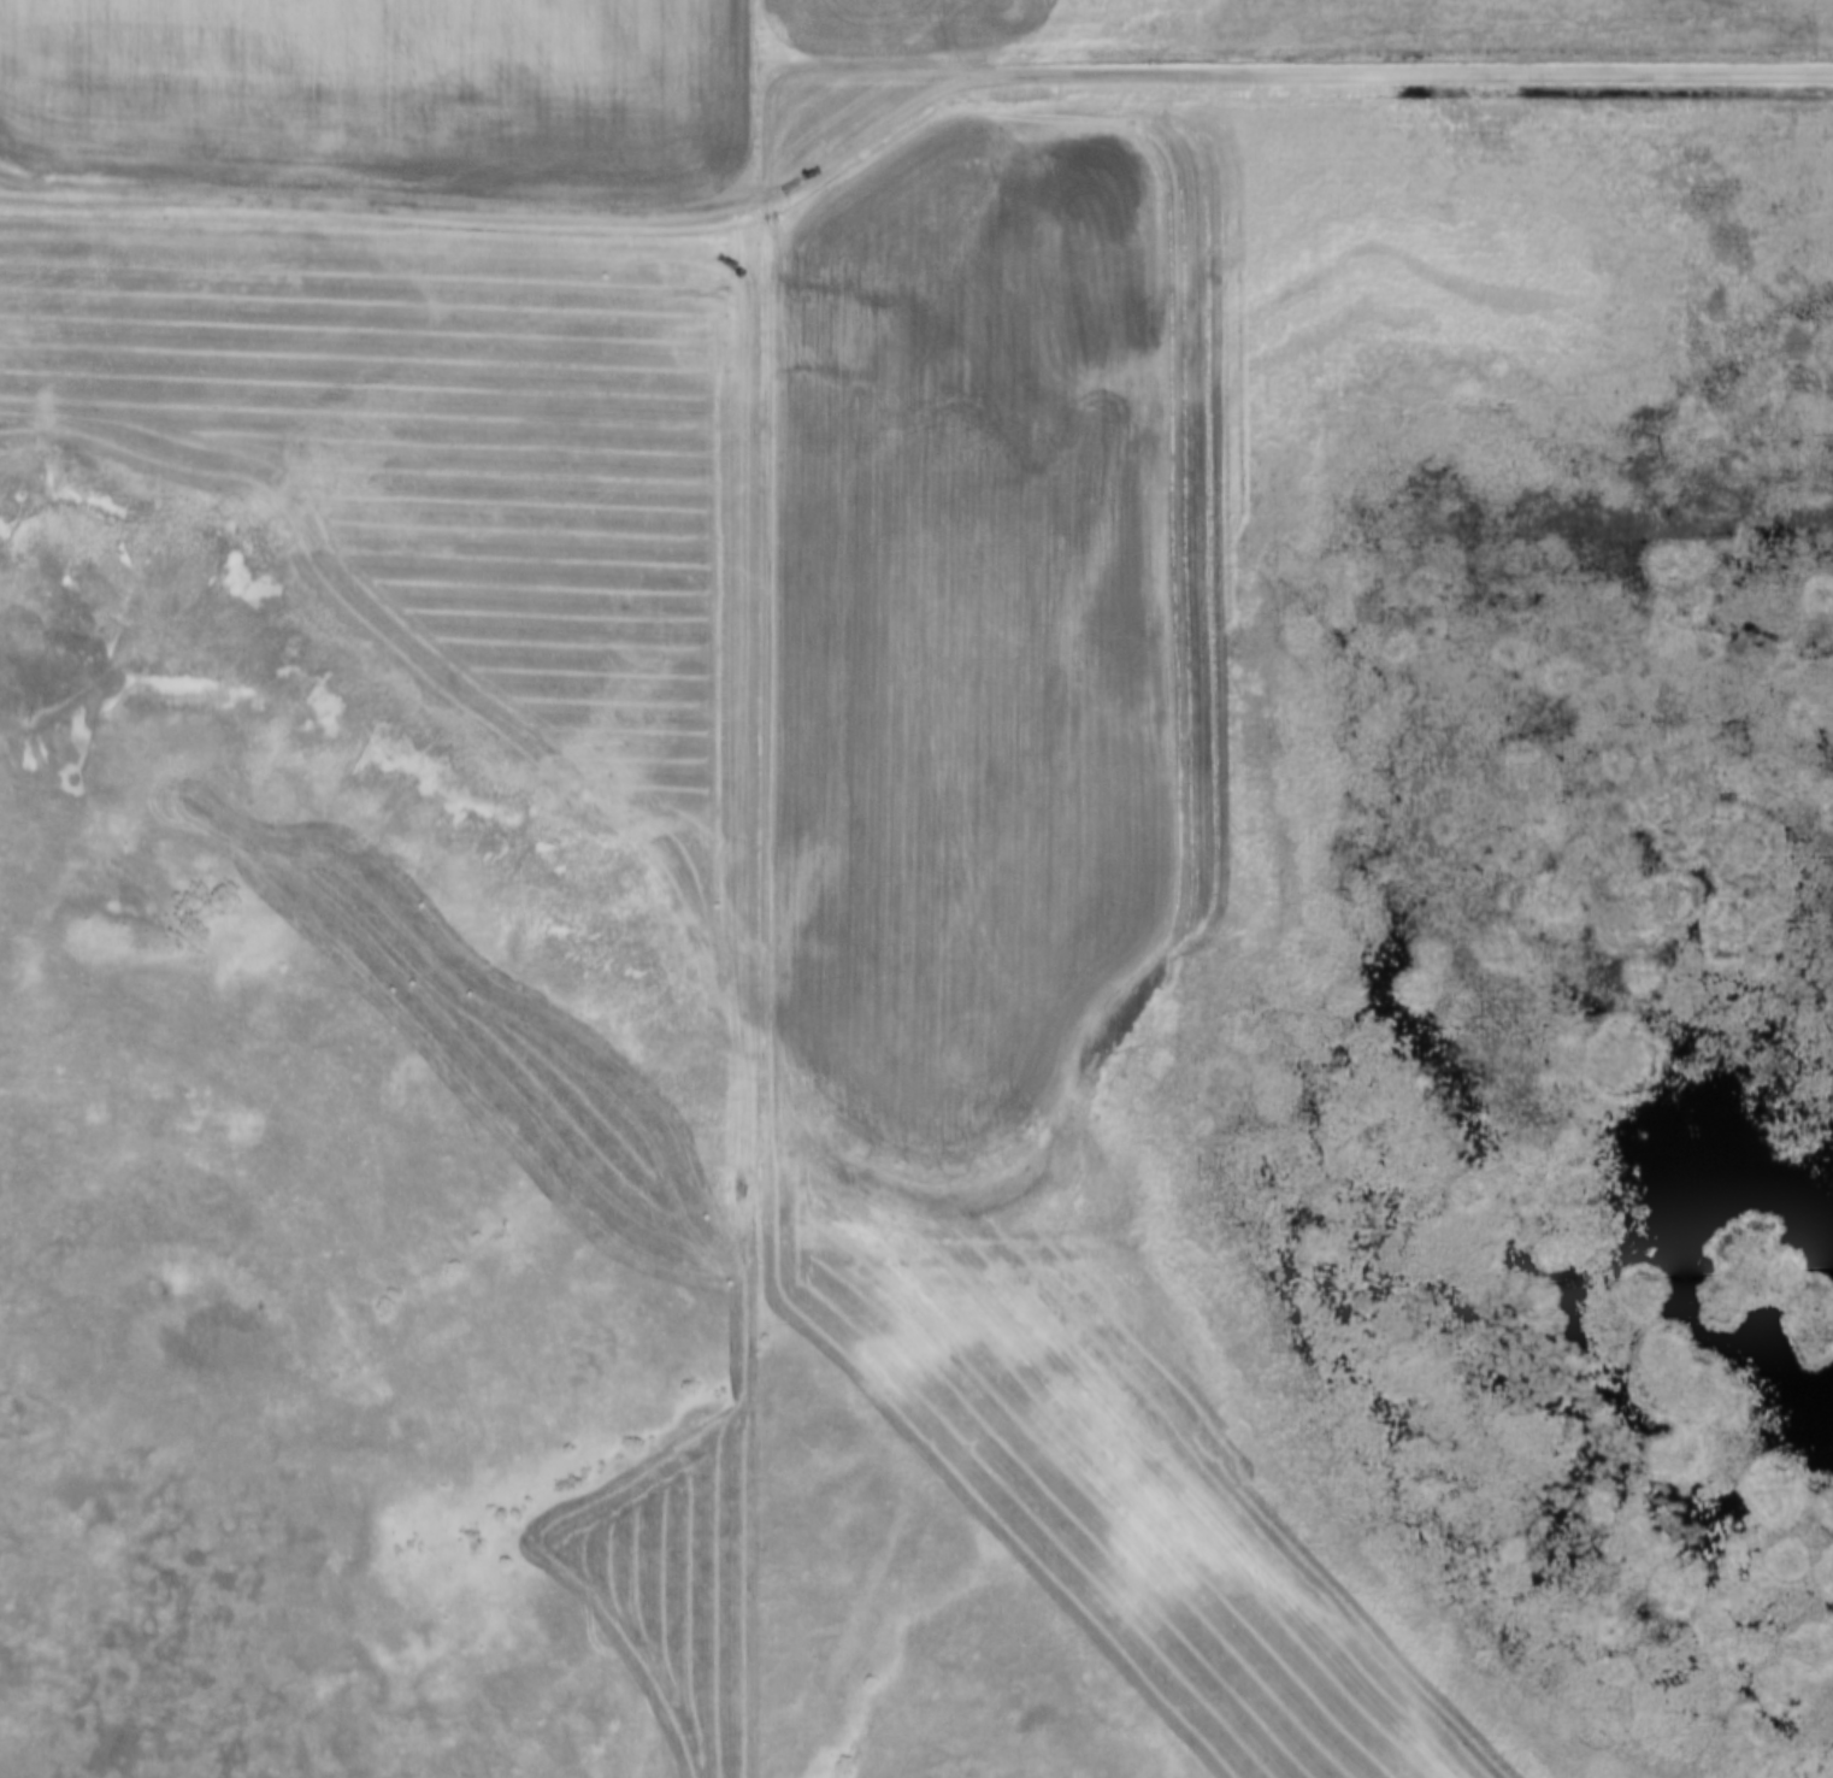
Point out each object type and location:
road: (907, 110)

